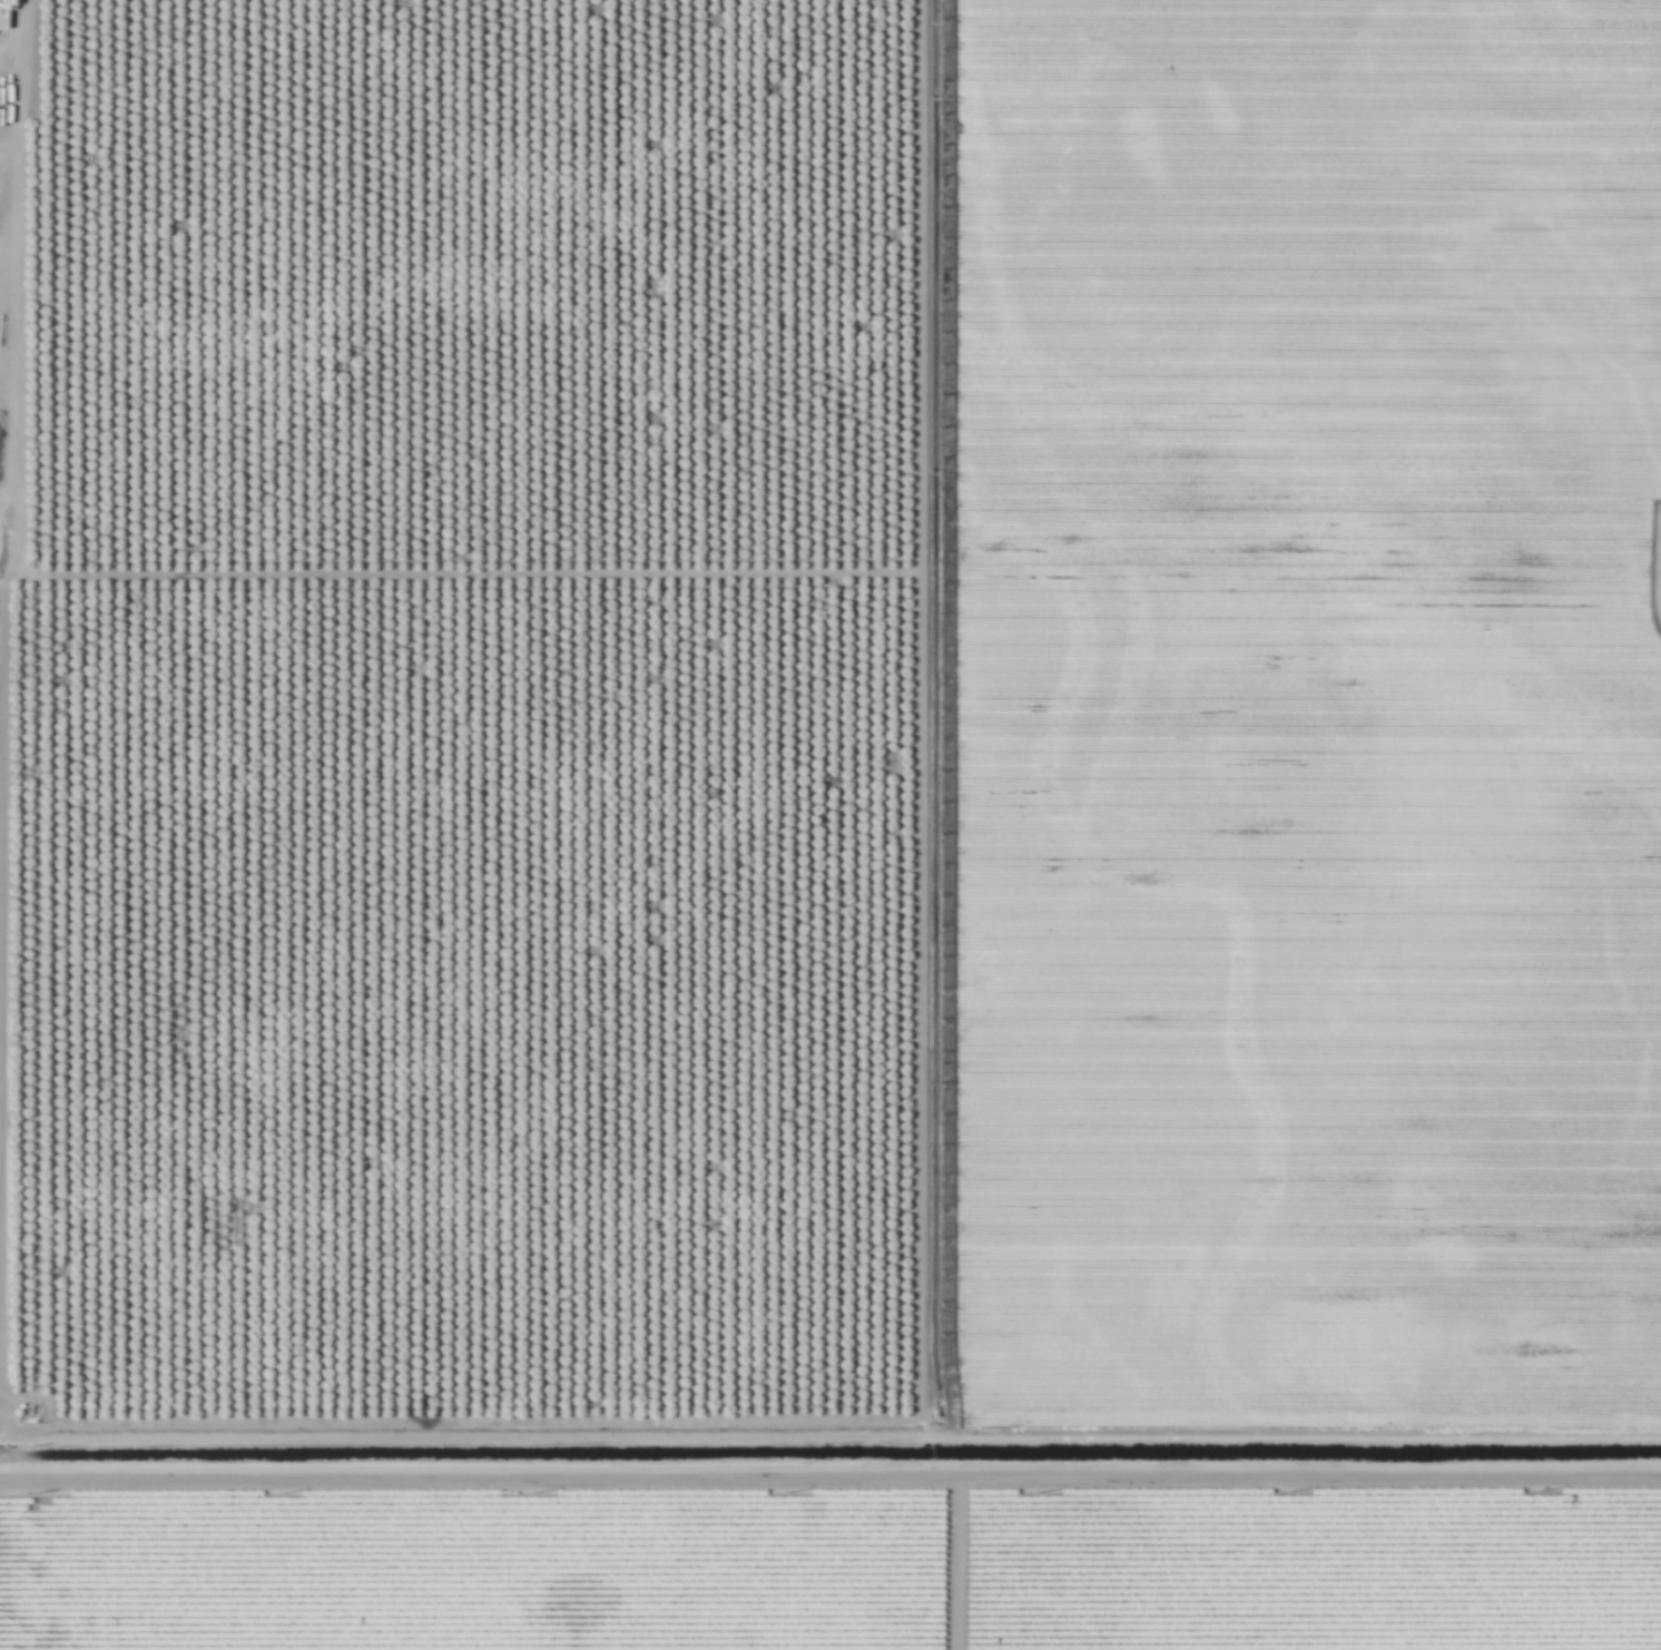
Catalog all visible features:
crop: (10, 262)
road: (39, 671)
crop: (483, 709)
crop: (1308, 711)
crop: (4, 805)
road: (830, 1472)
crop: (833, 1566)

